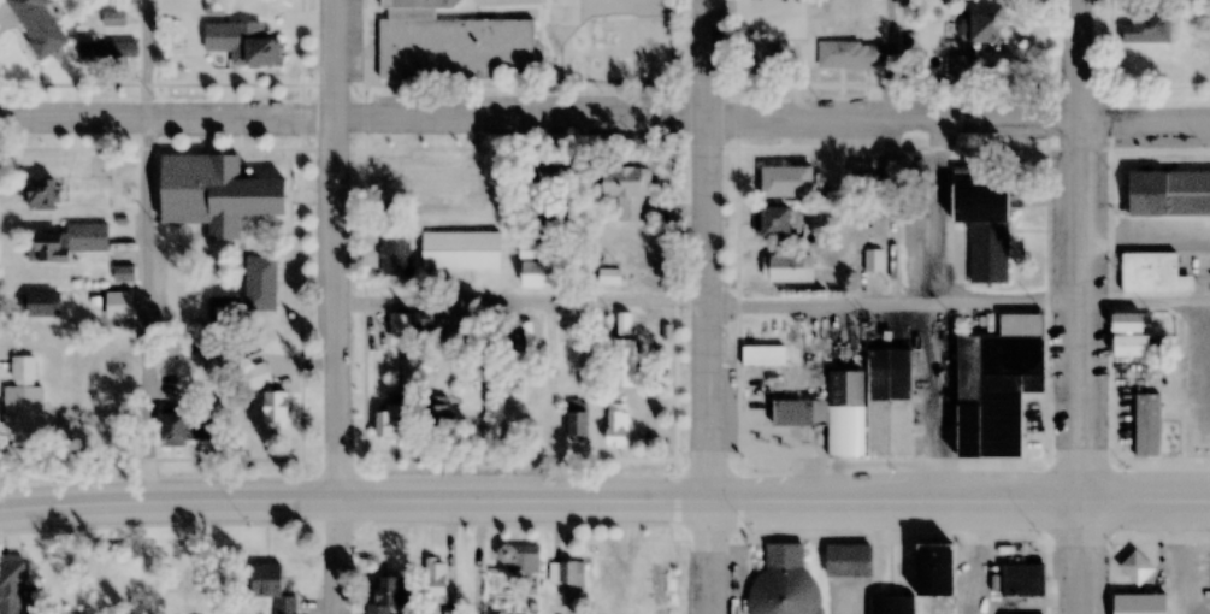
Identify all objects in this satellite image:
building: (113, 19)
building: (40, 26)
building: (979, 28)
building: (1147, 28)
building: (437, 40)
building: (106, 49)
building: (261, 53)
building: (851, 55)
building: (774, 59)
building: (956, 66)
road: (1144, 119)
road: (538, 126)
building: (786, 182)
building: (626, 193)
building: (216, 194)
building: (1167, 194)
building: (41, 195)
building: (772, 222)
building: (69, 243)
road: (1079, 248)
building: (461, 250)
road: (720, 250)
building: (986, 250)
building: (532, 252)
road: (344, 253)
building: (395, 254)
building: (787, 268)
building: (538, 274)
building: (1152, 274)
building: (260, 284)
building: (41, 305)
building: (223, 311)
building: (405, 324)
building: (622, 324)
building: (565, 331)
building: (510, 336)
building: (1133, 337)
building: (170, 344)
building: (763, 356)
building: (624, 364)
building: (259, 376)
building: (998, 385)
building: (861, 408)
building: (273, 411)
building: (435, 418)
building: (24, 421)
building: (578, 421)
building: (390, 424)
building: (1147, 425)
building: (616, 426)
building: (173, 427)
road: (1146, 498)
road: (541, 503)
road: (1082, 556)
building: (519, 557)
road: (724, 557)
road: (343, 561)
building: (848, 561)
building: (935, 567)
building: (1137, 567)
building: (566, 572)
building: (436, 578)
building: (266, 579)
building: (656, 580)
building: (785, 580)
building: (1022, 581)
building: (11, 584)
building: (386, 594)
building: (1140, 603)
building: (892, 604)

